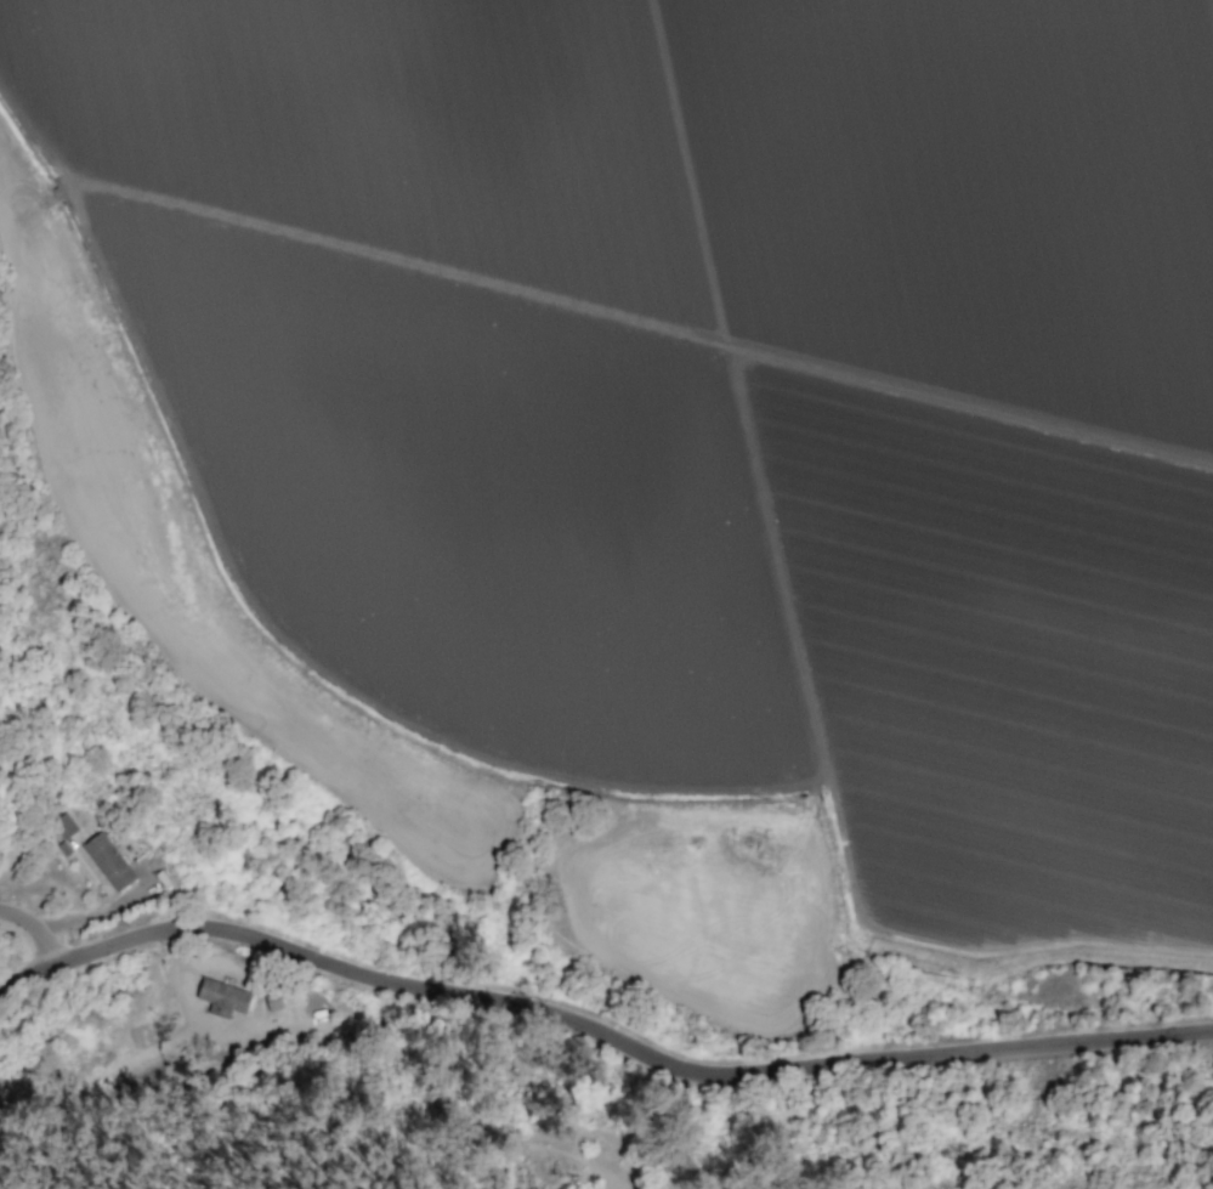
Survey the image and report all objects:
crop: (670, 449)
building: (108, 861)
road: (35, 936)
building: (222, 997)
road: (600, 1032)

